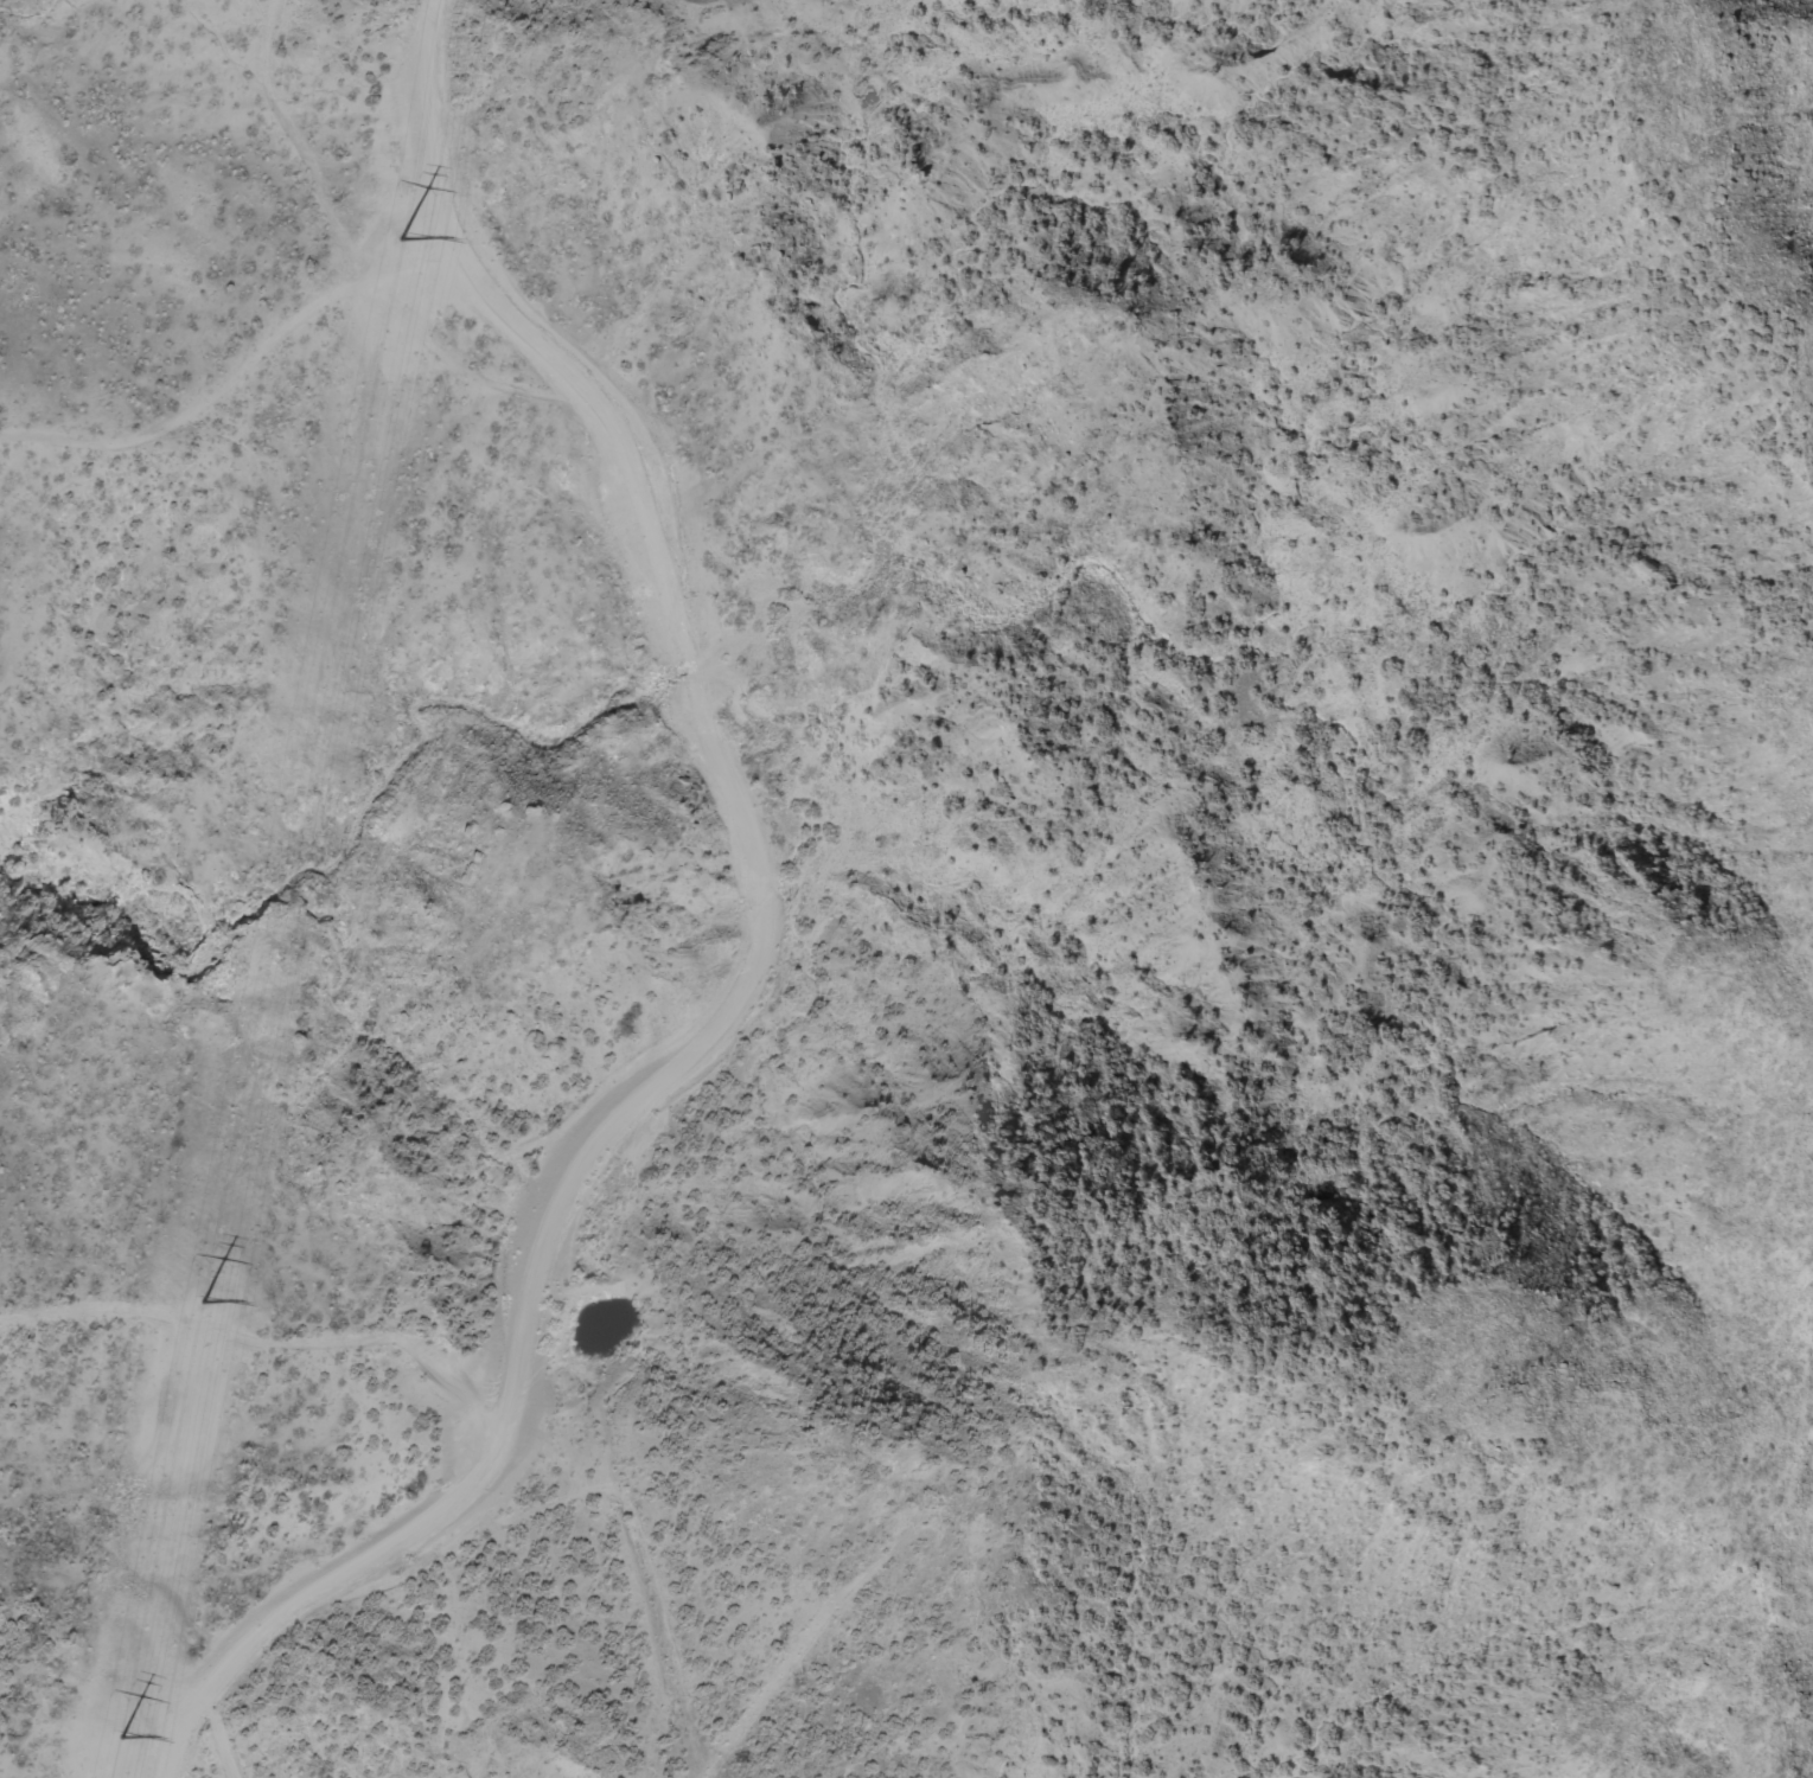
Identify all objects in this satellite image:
power tower: (400, 236)
power tower: (199, 1303)
power tower: (117, 1738)

